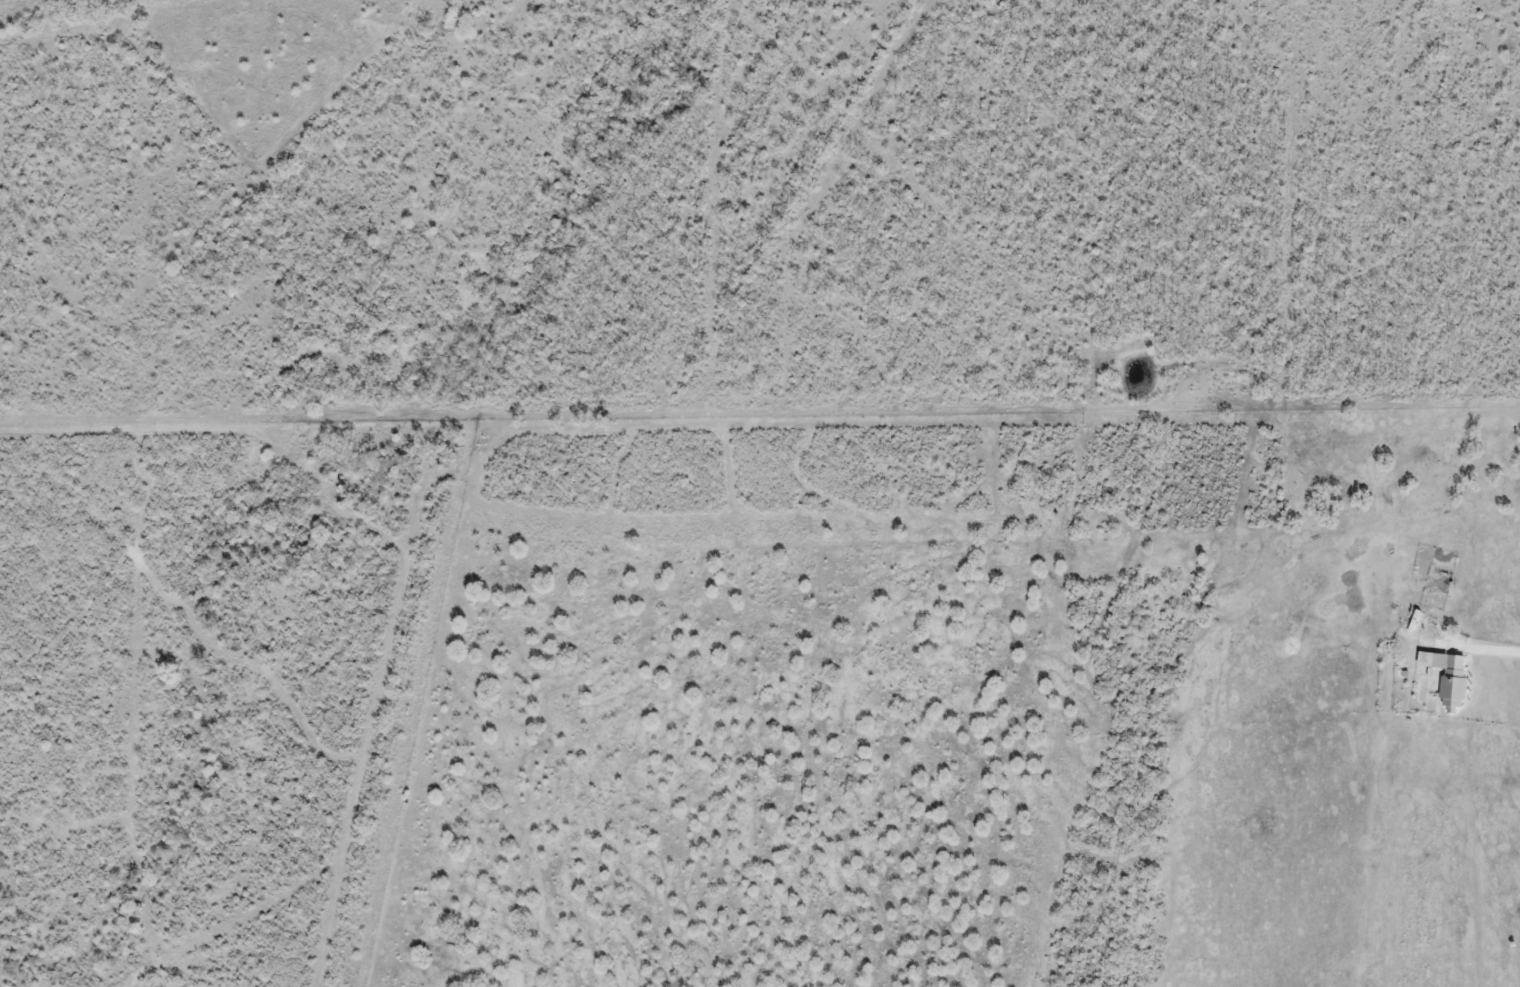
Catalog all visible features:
road: (1493, 651)

